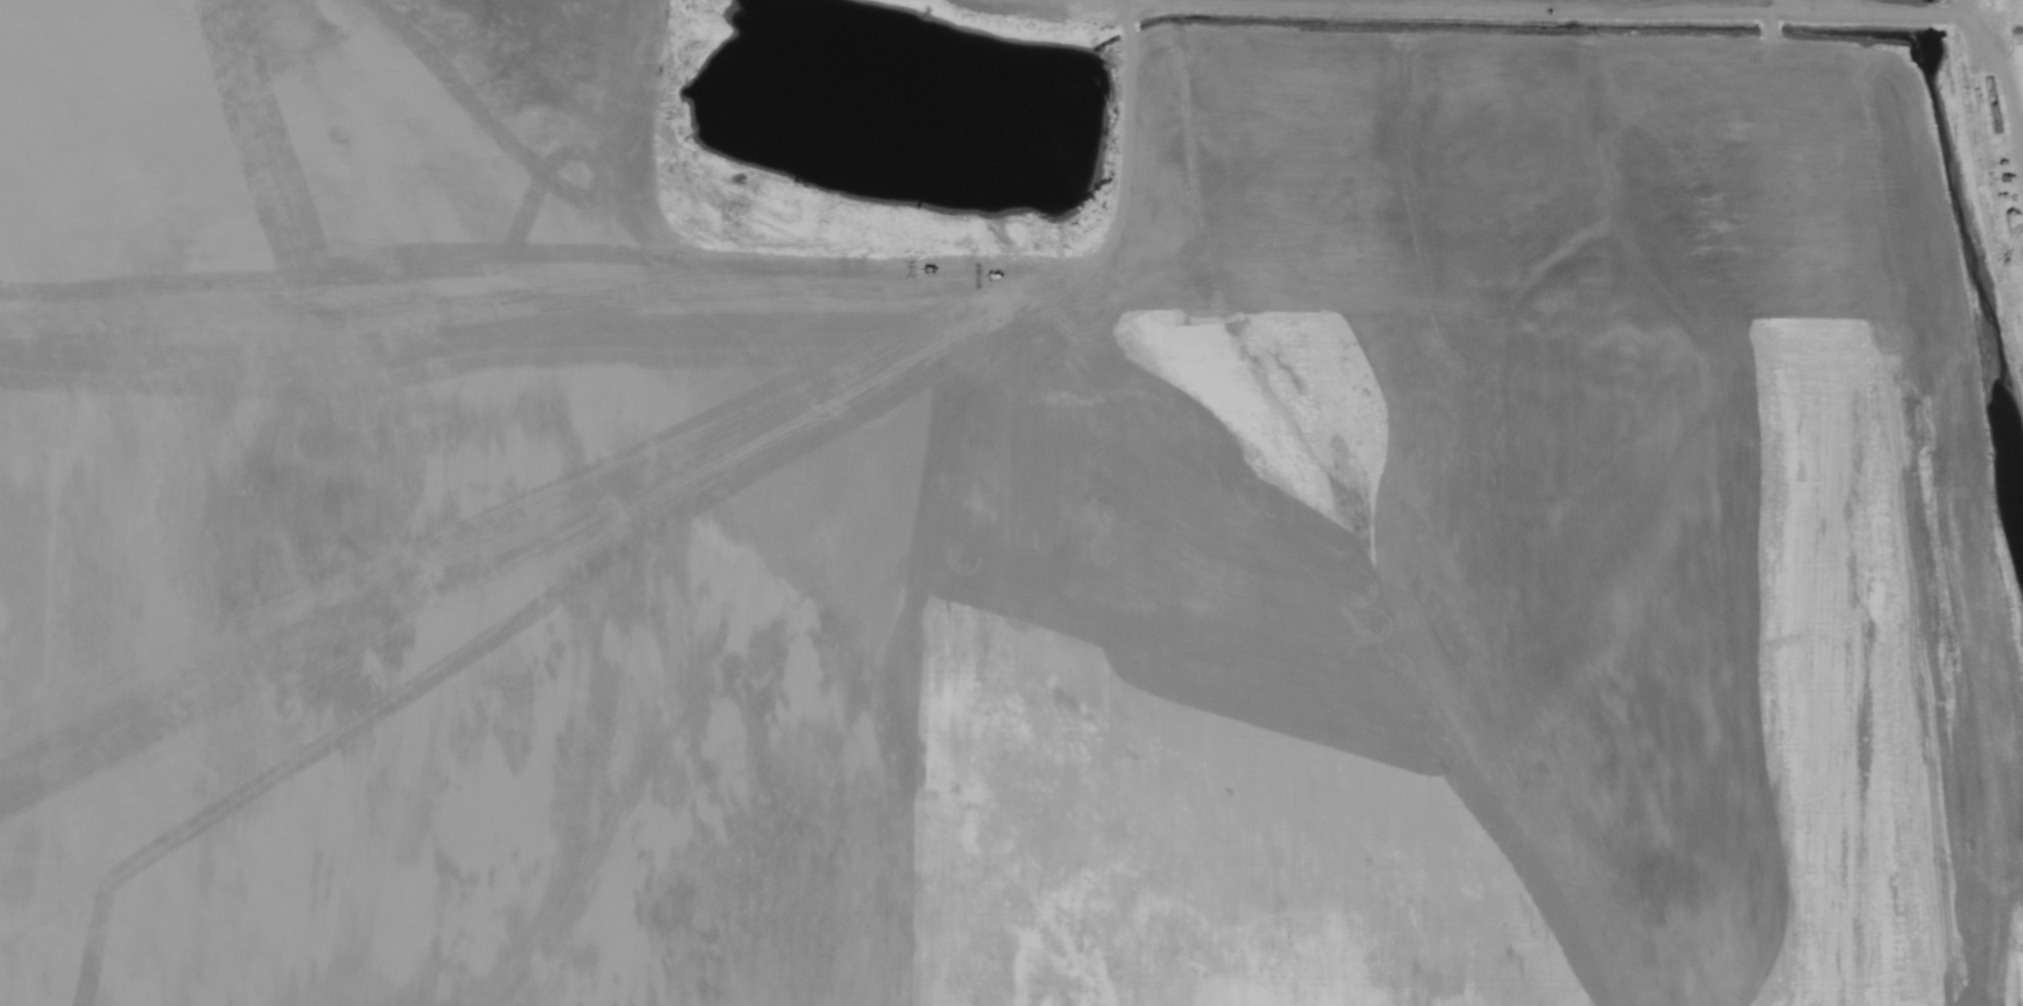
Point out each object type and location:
road: (1935, 0)
road: (1950, 0)
road: (1986, 156)

